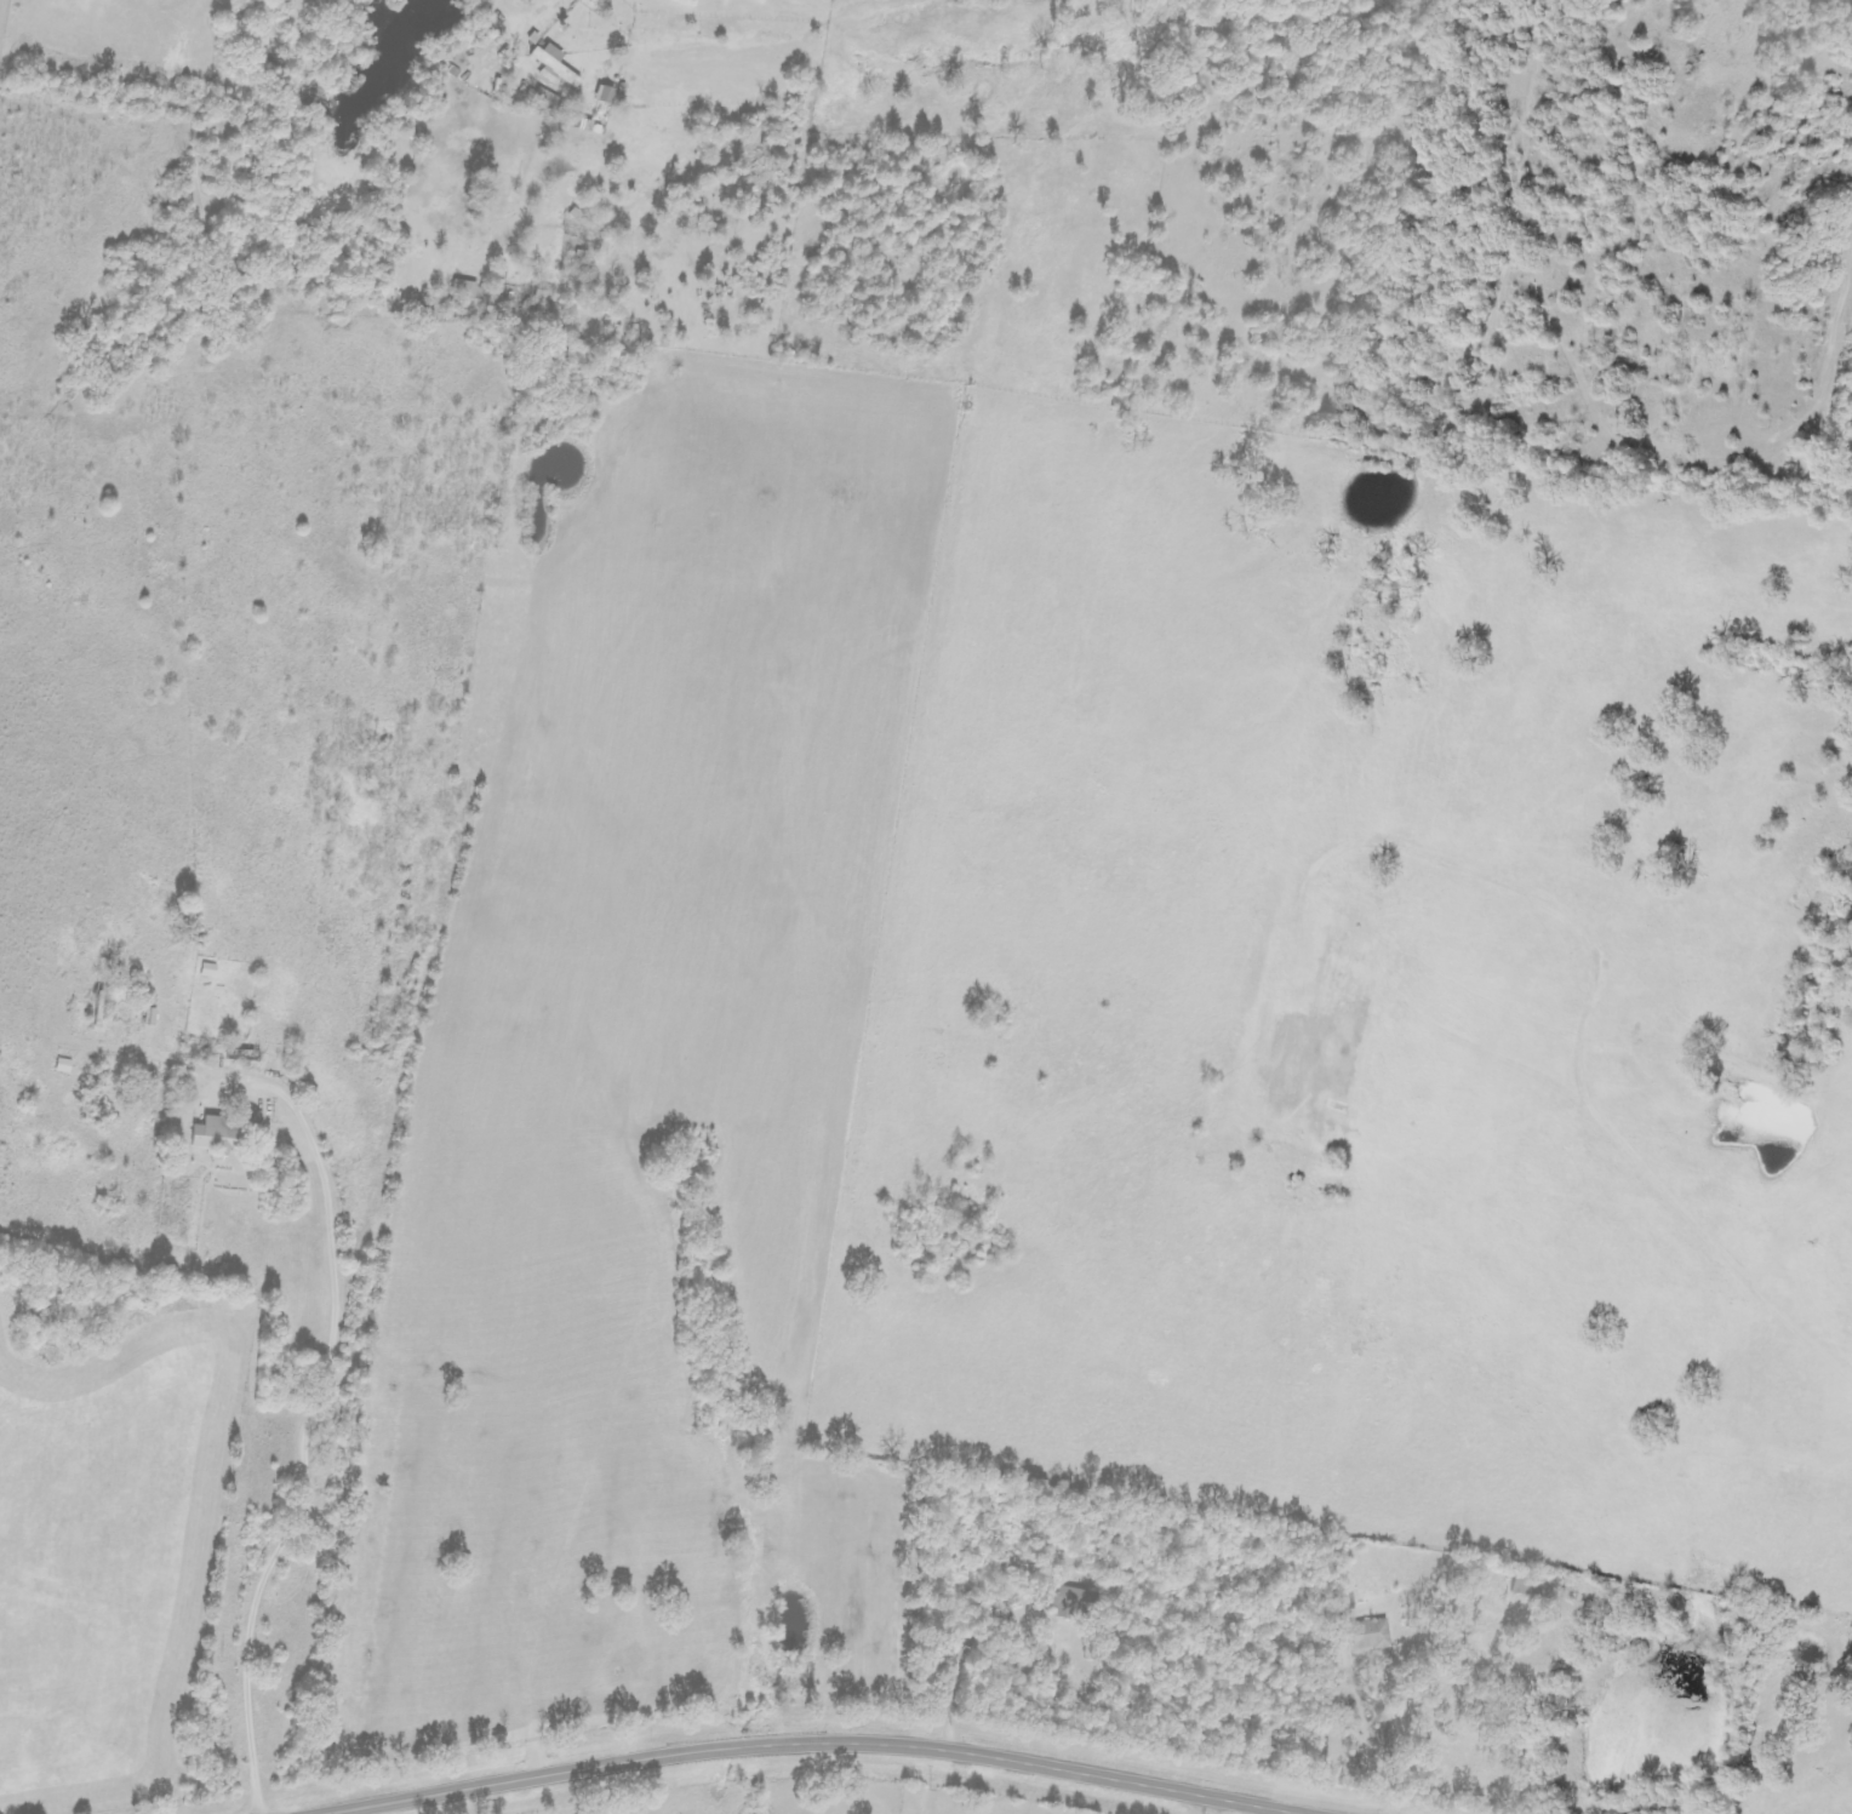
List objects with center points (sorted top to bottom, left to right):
building: (553, 67)
building: (604, 95)
building: (545, 101)
building: (207, 971)
building: (215, 1135)
road: (1839, 1400)
building: (1070, 1601)
building: (1362, 1635)
road: (812, 1744)

